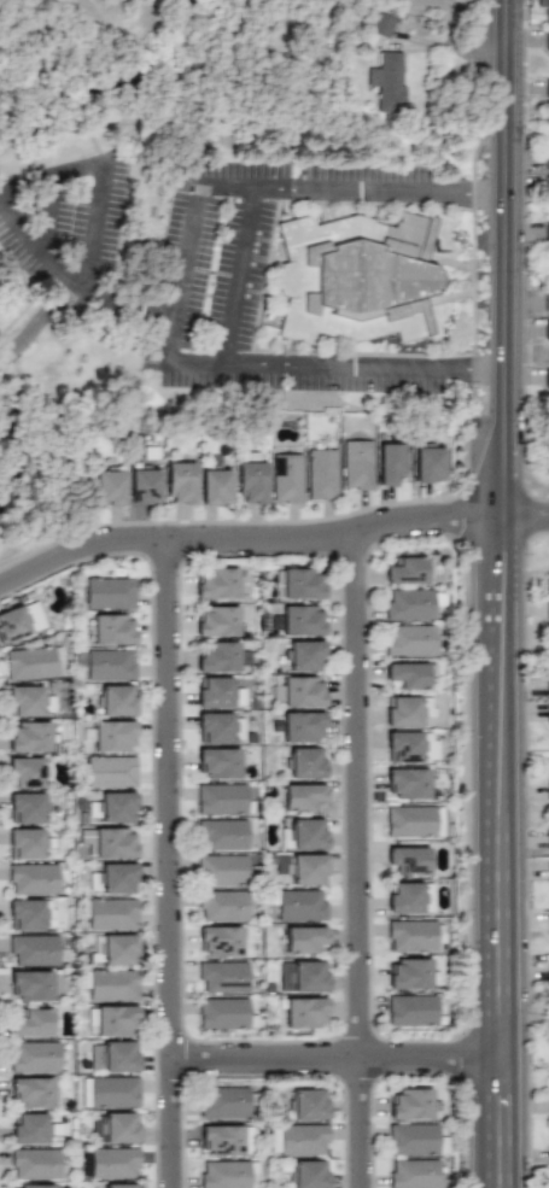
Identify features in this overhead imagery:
building: (542, 4)
road: (451, 19)
building: (378, 23)
building: (547, 40)
road: (456, 41)
building: (387, 78)
building: (547, 90)
building: (547, 158)
road: (51, 171)
road: (244, 180)
building: (545, 182)
road: (362, 185)
road: (450, 188)
road: (487, 192)
road: (51, 215)
road: (95, 224)
building: (547, 232)
road: (510, 262)
road: (180, 268)
road: (240, 274)
building: (355, 277)
road: (70, 280)
building: (545, 303)
building: (545, 328)
road: (218, 367)
road: (358, 368)
road: (475, 370)
building: (545, 378)
building: (545, 453)
building: (356, 463)
building: (390, 463)
building: (427, 463)
building: (320, 474)
building: (251, 478)
building: (285, 478)
building: (179, 482)
building: (214, 485)
building: (144, 486)
building: (107, 487)
road: (530, 522)
road: (251, 538)
building: (407, 569)
building: (547, 578)
building: (215, 583)
building: (299, 583)
building: (109, 592)
building: (410, 602)
building: (547, 610)
building: (19, 616)
building: (296, 620)
building: (220, 621)
building: (110, 628)
building: (408, 639)
building: (303, 655)
building: (218, 656)
building: (31, 662)
building: (109, 665)
building: (409, 674)
building: (548, 681)
building: (216, 691)
building: (297, 691)
building: (25, 700)
building: (116, 700)
building: (403, 710)
building: (548, 718)
building: (302, 726)
building: (218, 727)
building: (111, 735)
building: (27, 736)
building: (410, 747)
building: (216, 762)
building: (304, 762)
building: (110, 771)
building: (25, 772)
building: (405, 782)
building: (548, 785)
building: (302, 797)
building: (221, 798)
building: (117, 806)
building: (27, 807)
building: (413, 820)
building: (221, 833)
building: (303, 833)
building: (548, 837)
building: (113, 842)
building: (25, 843)
road: (510, 855)
road: (369, 859)
building: (405, 859)
road: (180, 862)
building: (304, 868)
building: (221, 870)
building: (548, 874)
building: (112, 877)
building: (31, 878)
building: (408, 897)
building: (221, 905)
building: (299, 905)
building: (28, 913)
building: (109, 913)
building: (548, 926)
building: (414, 935)
building: (303, 940)
building: (218, 941)
building: (115, 948)
building: (35, 950)
building: (408, 973)
building: (222, 976)
building: (302, 976)
building: (28, 984)
building: (107, 984)
building: (413, 1009)
building: (303, 1012)
building: (223, 1014)
building: (110, 1019)
building: (31, 1023)
building: (116, 1055)
building: (34, 1057)
road: (345, 1058)
building: (33, 1092)
building: (109, 1092)
building: (224, 1102)
building: (308, 1104)
building: (409, 1104)
building: (115, 1128)
building: (28, 1129)
building: (222, 1139)
building: (299, 1140)
building: (414, 1140)
building: (34, 1163)
building: (113, 1163)
building: (226, 1174)
building: (309, 1174)
building: (413, 1174)
building: (36, 1186)
building: (121, 1186)

